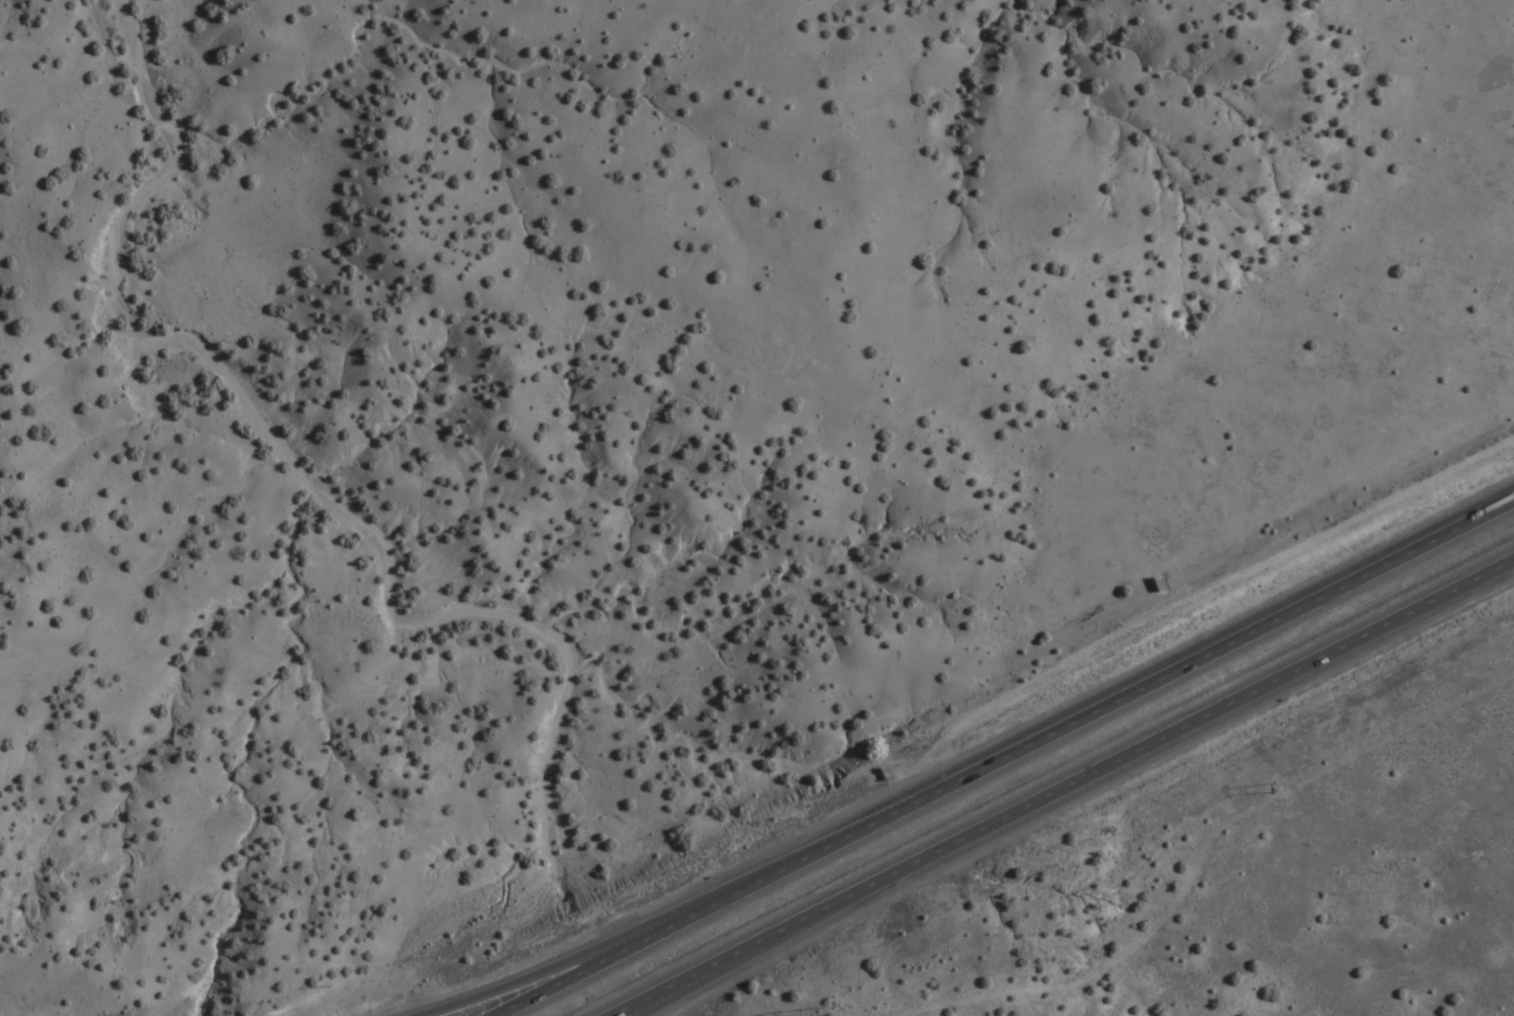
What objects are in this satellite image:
road: (1007, 755)
road: (1072, 790)
road: (559, 970)
road: (675, 997)

